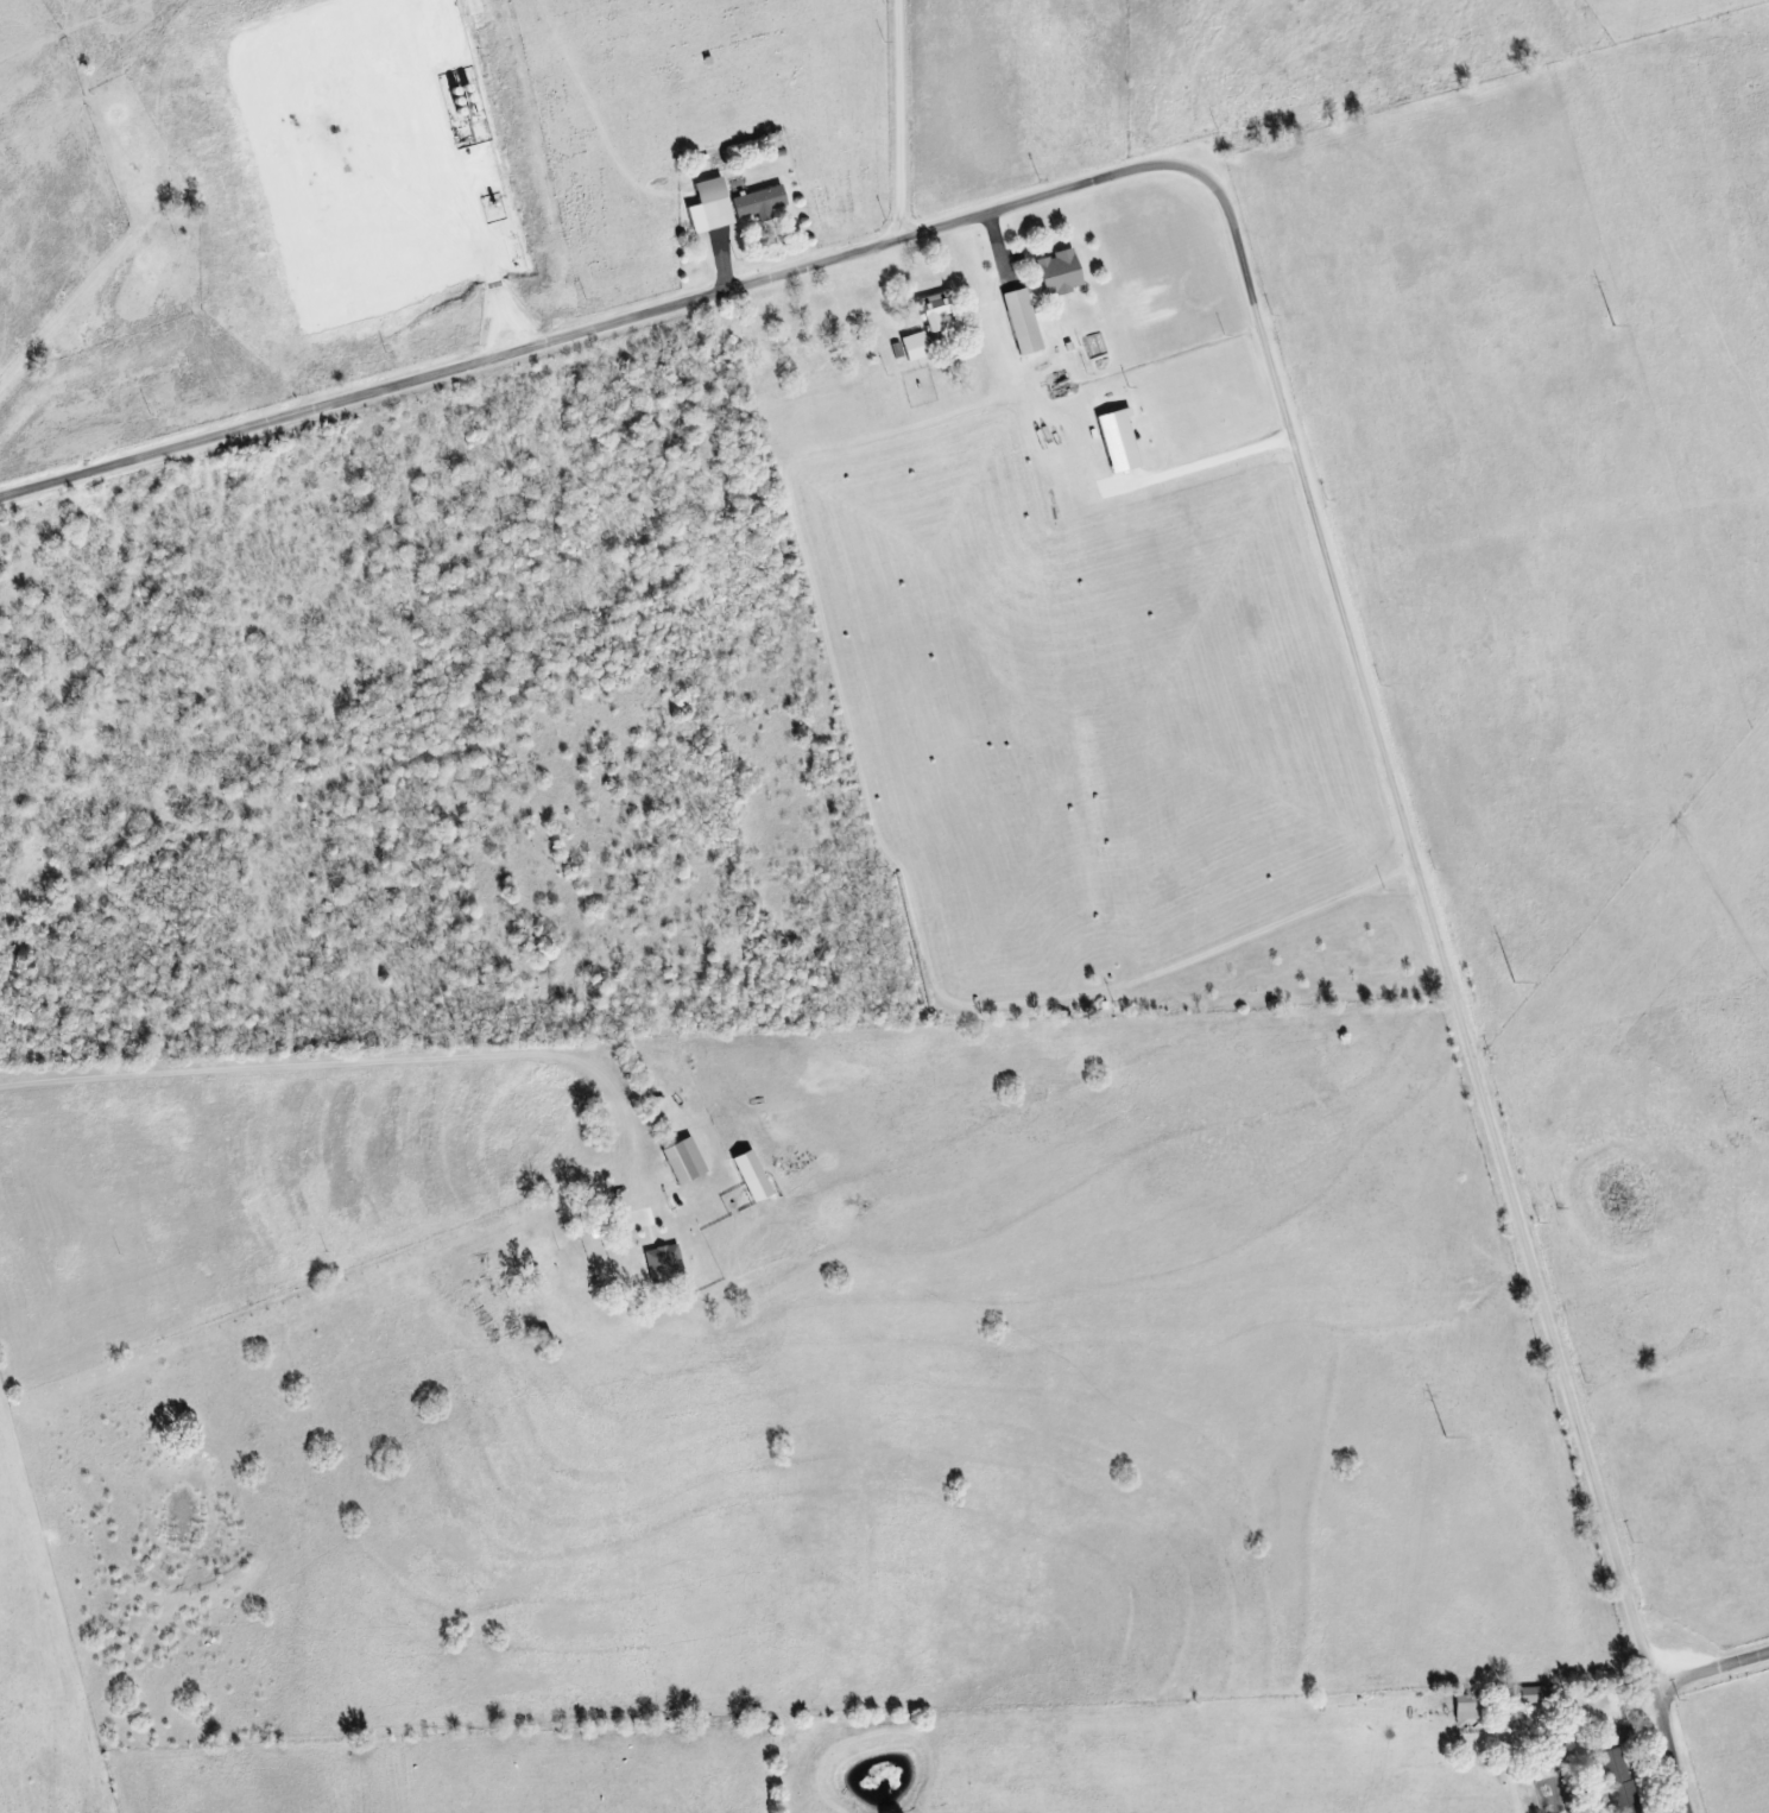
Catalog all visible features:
building: (756, 203)
building: (706, 207)
building: (1056, 272)
road: (501, 311)
building: (931, 311)
building: (1019, 321)
power tower: (1613, 327)
road: (561, 337)
building: (912, 346)
building: (1114, 441)
road: (1391, 779)
power tower: (1514, 984)
road: (372, 1062)
building: (681, 1161)
building: (748, 1175)
building: (619, 1224)
building: (662, 1263)
power tower: (1445, 1438)
building: (1531, 1694)
road: (1664, 1698)
building: (1468, 1707)
building: (1617, 1781)

